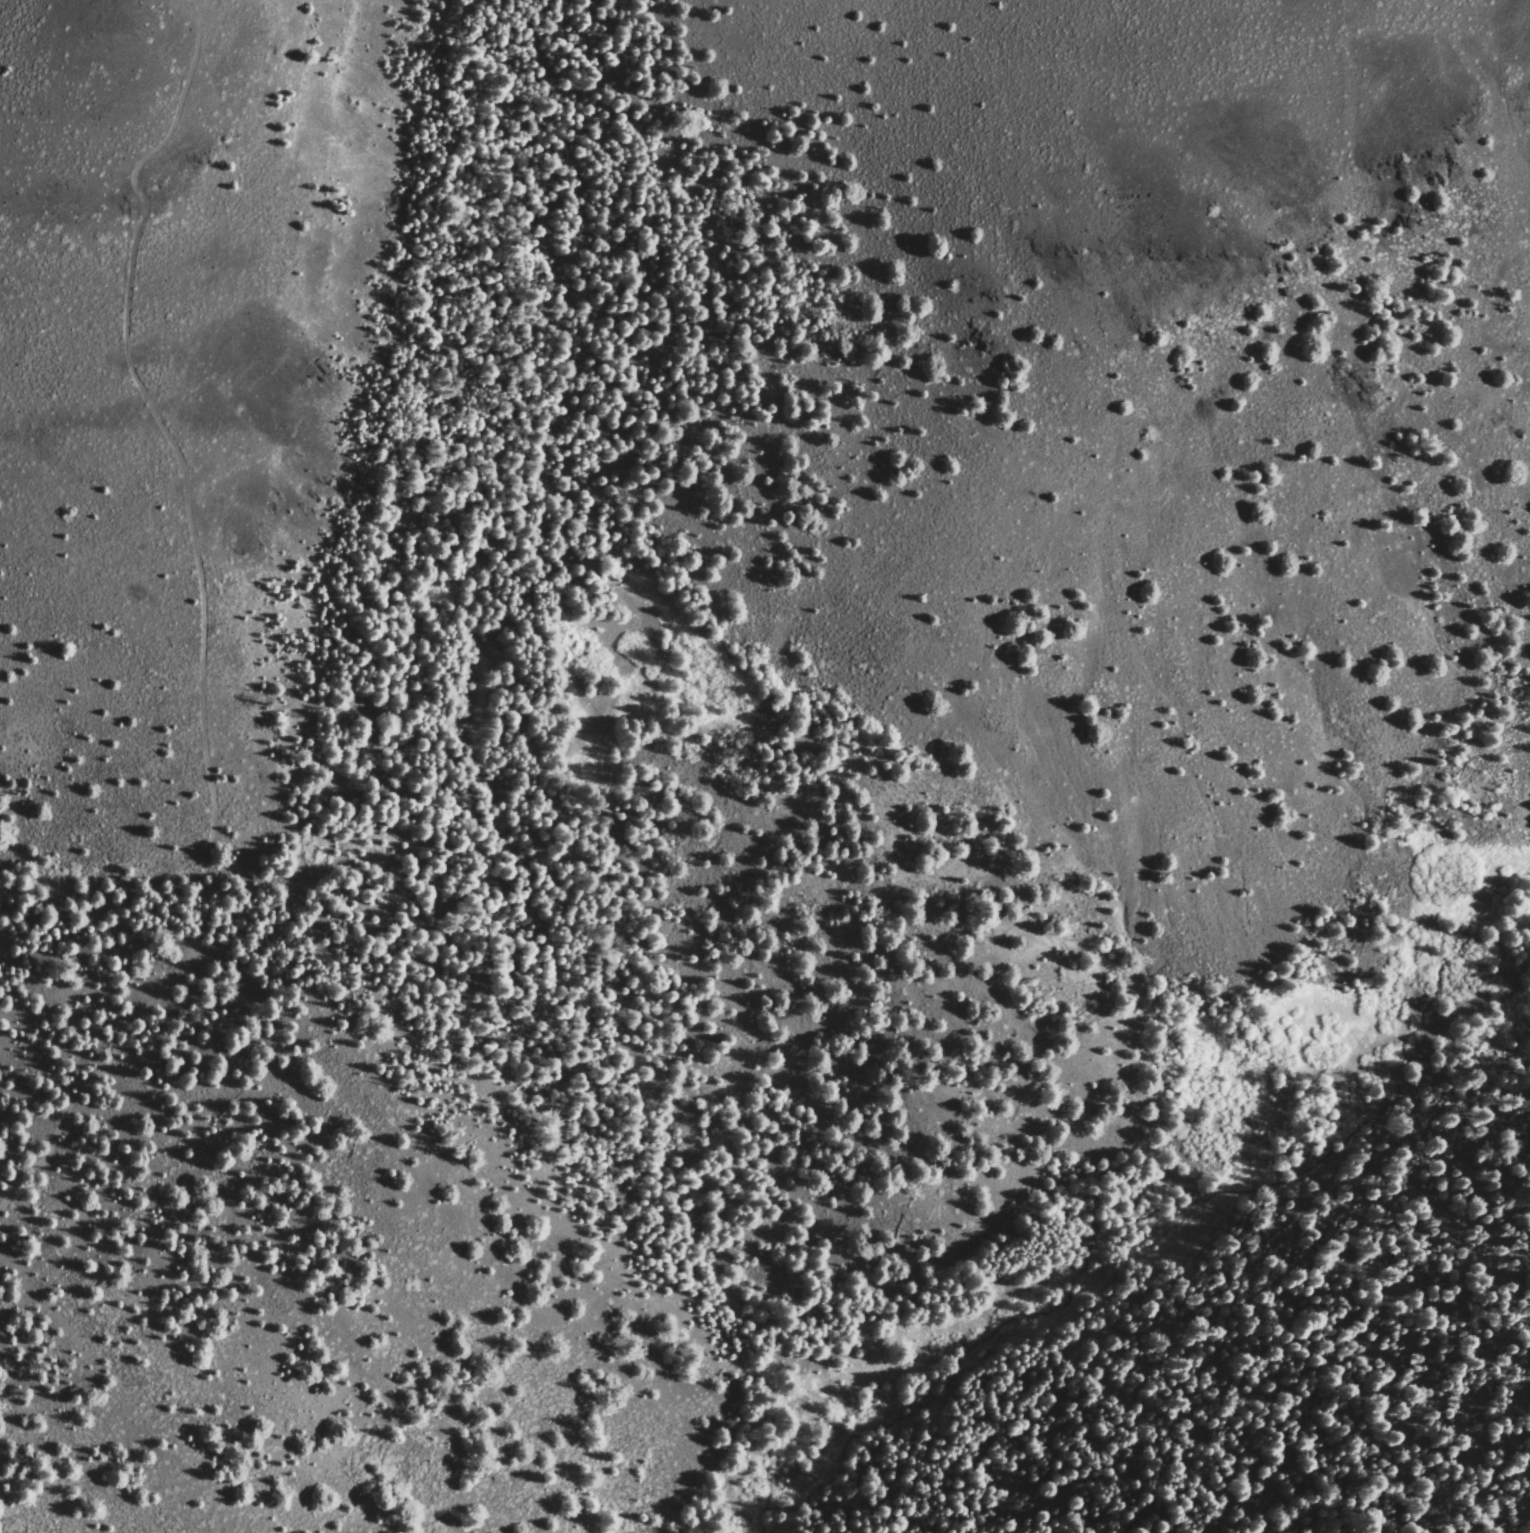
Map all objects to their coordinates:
road: (200, 616)

